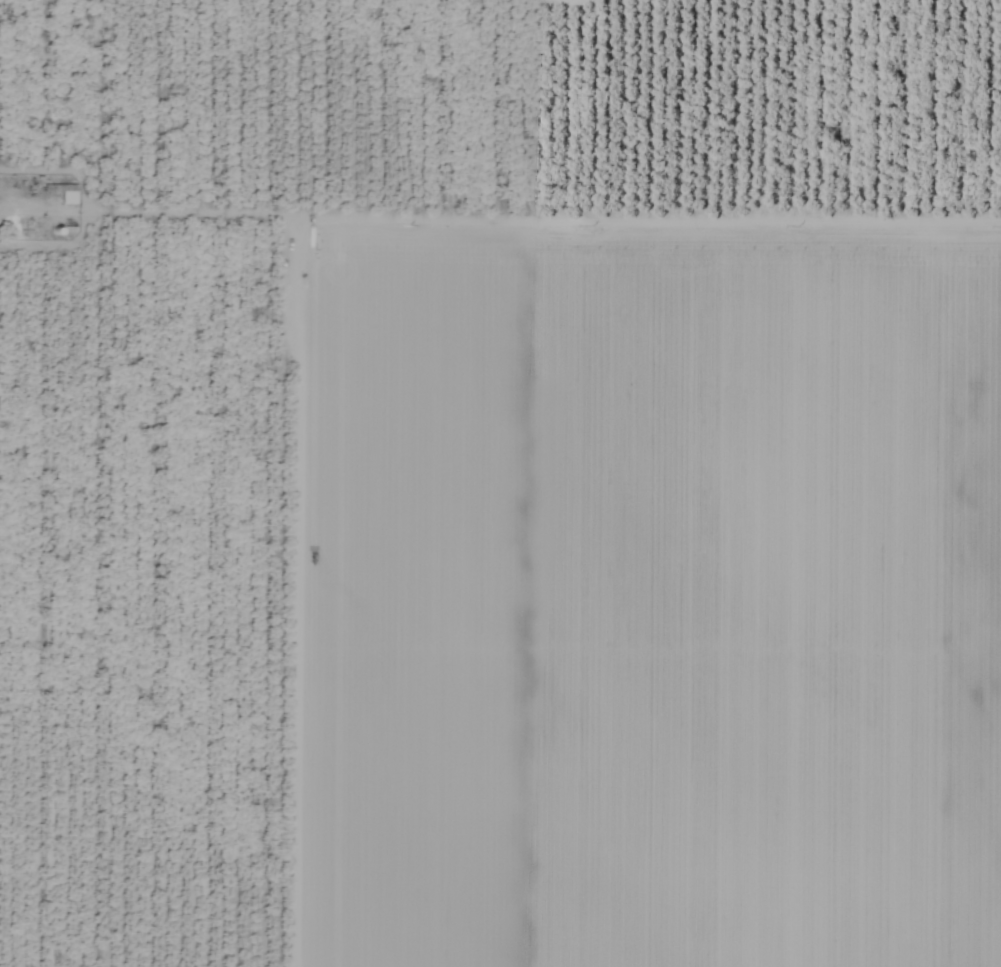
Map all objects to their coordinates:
building: (67, 198)
road: (6, 218)
crop: (500, 483)

